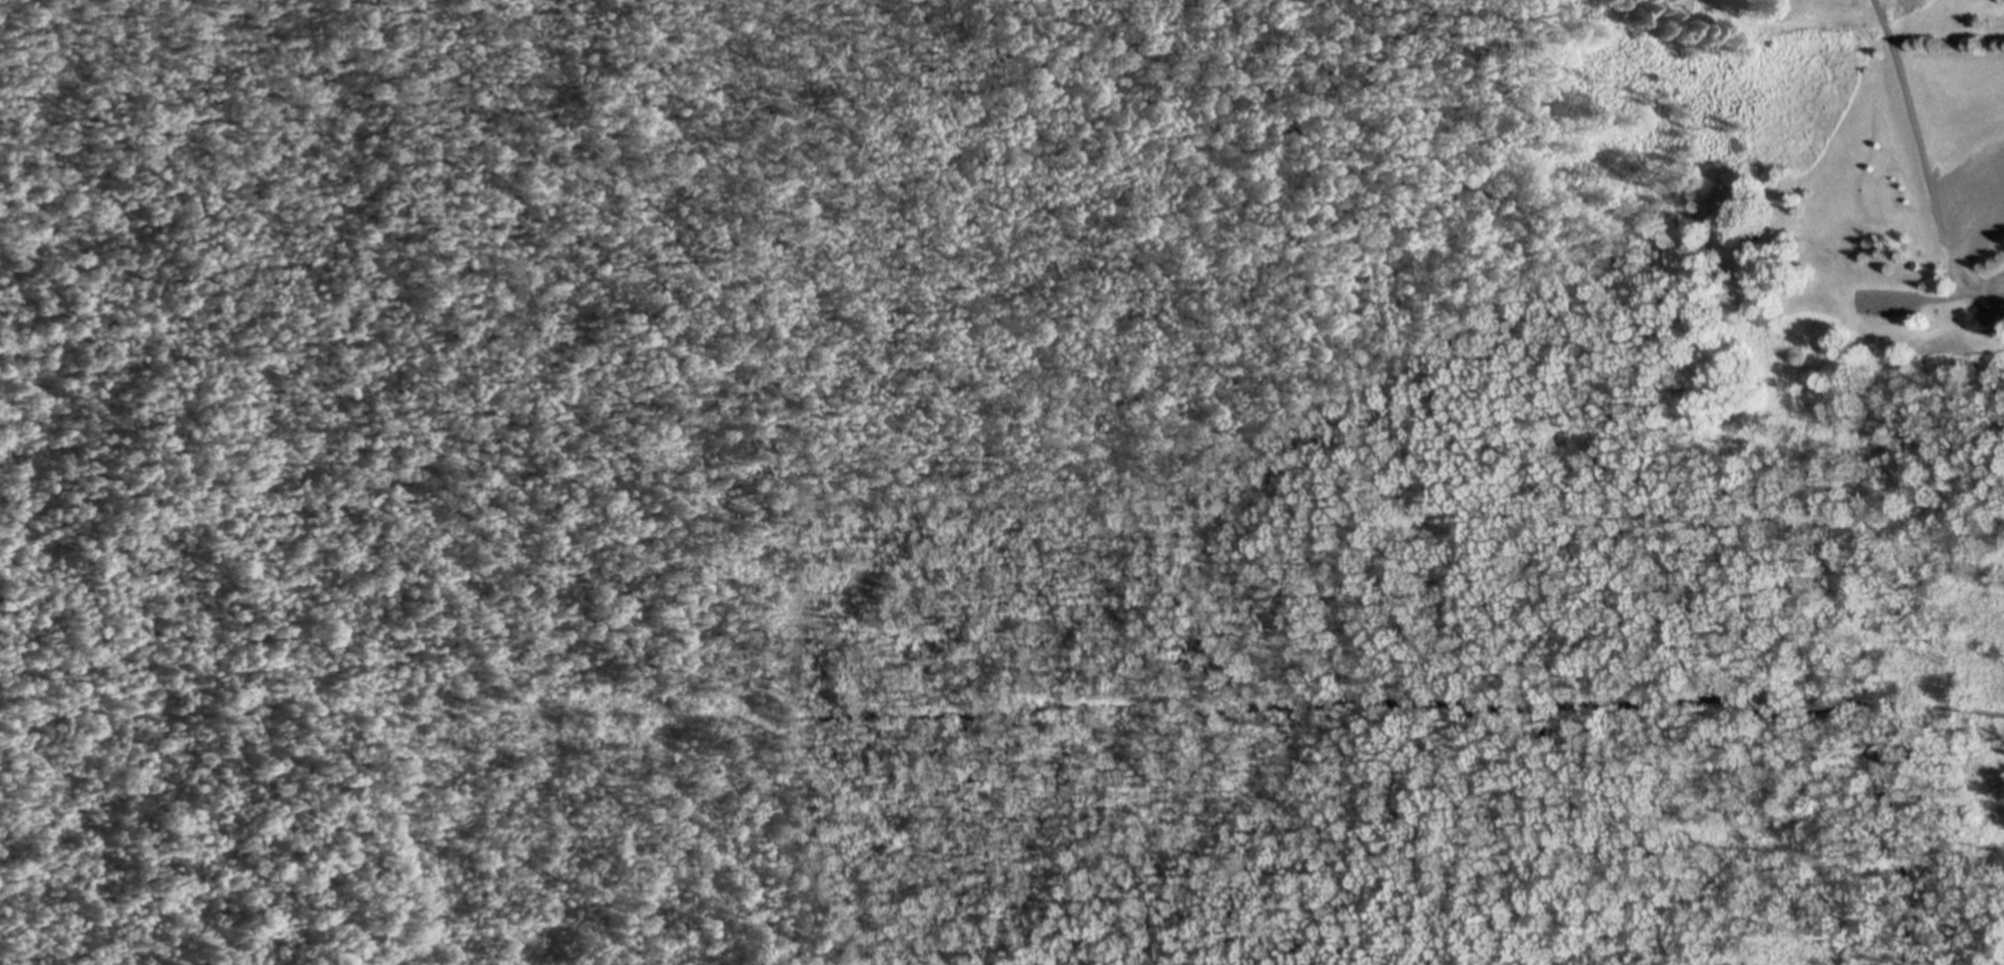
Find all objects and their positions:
road: (1945, 290)

